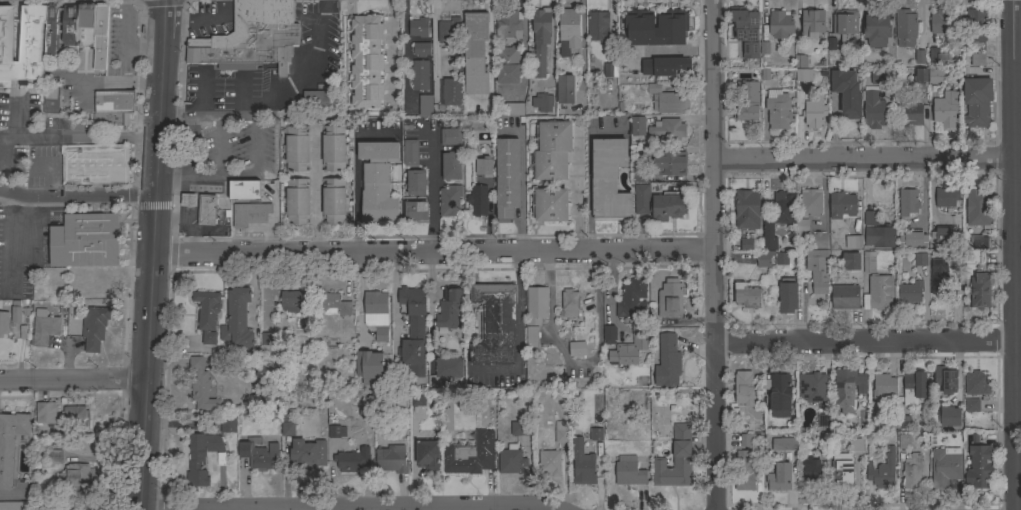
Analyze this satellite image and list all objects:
road: (164, 20)
building: (811, 23)
building: (943, 23)
building: (70, 24)
building: (86, 25)
building: (975, 25)
building: (597, 26)
building: (780, 26)
building: (509, 27)
building: (655, 27)
building: (845, 27)
building: (419, 28)
building: (876, 28)
building: (905, 28)
building: (53, 30)
building: (449, 30)
building: (568, 31)
building: (746, 31)
building: (285, 35)
building: (100, 36)
road: (58, 39)
building: (241, 39)
building: (540, 39)
road: (432, 43)
building: (22, 47)
road: (14, 49)
building: (420, 49)
road: (524, 49)
road: (490, 50)
building: (475, 53)
building: (933, 55)
road: (405, 56)
building: (920, 57)
building: (977, 60)
building: (800, 61)
building: (367, 62)
building: (507, 65)
building: (664, 66)
building: (607, 71)
building: (803, 75)
building: (419, 76)
building: (920, 76)
building: (935, 76)
building: (880, 77)
road: (114, 83)
building: (565, 90)
road: (272, 92)
building: (450, 92)
building: (846, 93)
building: (316, 98)
building: (50, 100)
building: (668, 100)
building: (747, 101)
building: (114, 102)
building: (976, 102)
building: (542, 103)
building: (425, 105)
building: (946, 109)
building: (777, 110)
building: (873, 110)
building: (512, 111)
building: (814, 112)
building: (908, 115)
building: (110, 119)
building: (466, 120)
building: (637, 126)
building: (668, 130)
building: (450, 137)
road: (79, 138)
building: (333, 148)
building: (296, 149)
building: (551, 151)
building: (410, 153)
road: (860, 161)
road: (189, 162)
building: (670, 163)
building: (94, 165)
building: (451, 166)
building: (483, 167)
building: (638, 172)
road: (241, 173)
building: (507, 178)
building: (608, 180)
building: (378, 181)
building: (416, 182)
building: (244, 190)
road: (431, 191)
road: (522, 192)
road: (1015, 195)
road: (314, 196)
road: (78, 197)
building: (946, 197)
building: (641, 199)
building: (188, 200)
building: (334, 201)
building: (449, 201)
building: (477, 201)
building: (297, 202)
building: (810, 202)
building: (908, 202)
building: (550, 205)
building: (841, 205)
building: (668, 206)
building: (978, 207)
building: (784, 209)
building: (204, 210)
gas station: (206, 210)
building: (747, 210)
building: (415, 211)
building: (250, 214)
building: (870, 218)
building: (801, 226)
building: (945, 234)
building: (768, 236)
building: (879, 237)
building: (913, 239)
building: (817, 240)
road: (17, 241)
building: (85, 241)
building: (853, 241)
building: (980, 241)
building: (748, 244)
road: (432, 252)
road: (712, 255)
road: (1010, 255)
building: (850, 257)
building: (781, 258)
building: (764, 259)
building: (920, 259)
building: (869, 262)
building: (818, 271)
road: (153, 274)
building: (946, 276)
building: (979, 291)
building: (880, 292)
building: (909, 292)
building: (747, 295)
building: (787, 296)
building: (844, 297)
building: (670, 299)
road: (392, 300)
building: (632, 300)
building: (295, 301)
building: (331, 304)
building: (569, 304)
building: (536, 305)
building: (449, 309)
building: (16, 313)
building: (207, 314)
building: (376, 314)
building: (237, 320)
building: (4, 323)
building: (494, 324)
building: (94, 327)
building: (44, 328)
building: (413, 331)
building: (609, 334)
building: (532, 337)
road: (862, 341)
building: (267, 342)
building: (630, 347)
building: (577, 349)
building: (667, 360)
building: (370, 367)
building: (445, 370)
building: (945, 379)
road: (74, 380)
building: (976, 384)
building: (201, 387)
building: (883, 387)
building: (744, 388)
building: (811, 388)
building: (913, 388)
building: (846, 389)
building: (779, 395)
building: (418, 399)
building: (972, 406)
building: (46, 413)
road: (1017, 413)
building: (949, 417)
building: (75, 419)
building: (823, 420)
building: (903, 422)
building: (228, 425)
building: (288, 429)
building: (522, 429)
building: (336, 431)
building: (561, 432)
building: (596, 434)
building: (903, 441)
building: (11, 444)
building: (784, 444)
building: (856, 445)
building: (822, 446)
building: (259, 454)
building: (427, 454)
building: (307, 455)
building: (55, 457)
building: (200, 457)
building: (391, 459)
building: (466, 459)
building: (674, 459)
building: (511, 460)
building: (350, 461)
building: (748, 462)
building: (549, 464)
building: (582, 464)
building: (979, 465)
building: (945, 467)
building: (810, 470)
building: (882, 471)
building: (841, 472)
building: (912, 472)
building: (629, 474)
building: (76, 478)
building: (779, 478)
building: (14, 506)
road: (346, 508)
road: (328, 509)

